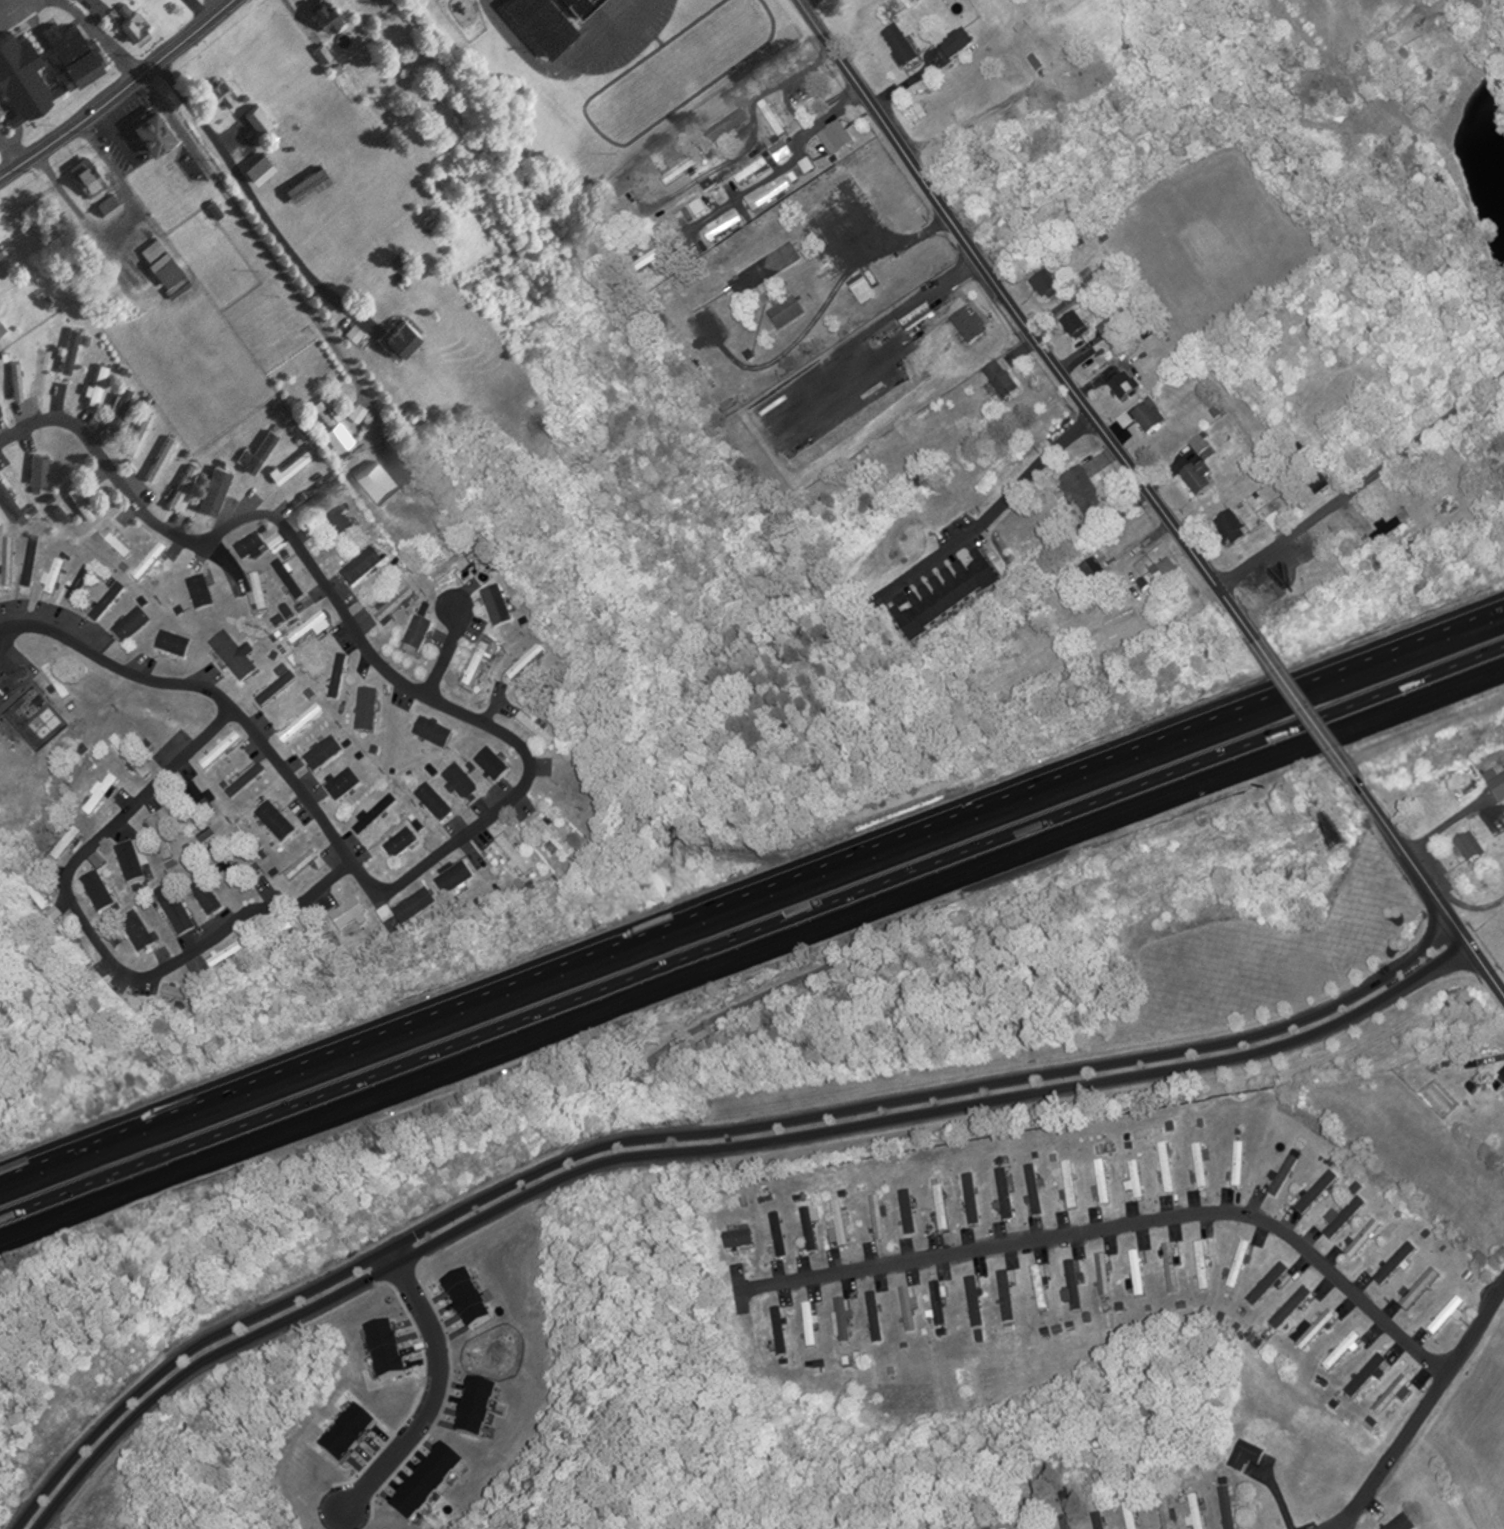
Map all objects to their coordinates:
road: (90, 34)
road: (564, 66)
road: (113, 85)
road: (778, 158)
road: (248, 188)
road: (249, 229)
road: (868, 277)
road: (1019, 321)
road: (884, 391)
road: (1360, 476)
road: (988, 504)
road: (445, 652)
road: (2, 660)
road: (1305, 707)
road: (525, 756)
road: (1430, 886)
road: (751, 891)
road: (1471, 901)
road: (97, 938)
road: (751, 950)
road: (702, 1140)
road: (1114, 1224)
road: (433, 1398)
road: (1420, 1411)

